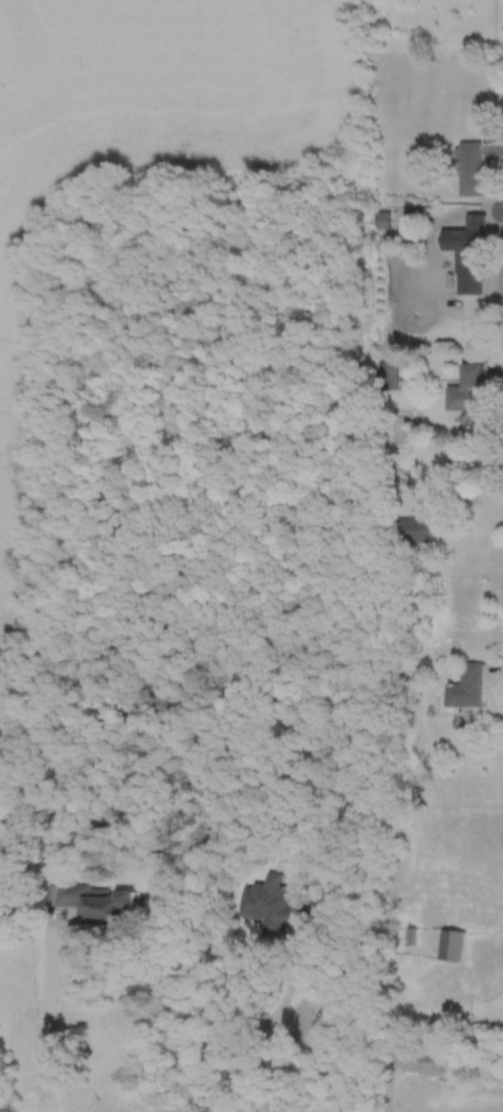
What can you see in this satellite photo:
building: (470, 169)
building: (374, 218)
building: (471, 238)
building: (382, 374)
building: (465, 389)
building: (406, 530)
building: (464, 686)
building: (4, 840)
building: (85, 900)
building: (451, 945)
road: (47, 1021)
road: (250, 1024)
building: (421, 1061)

